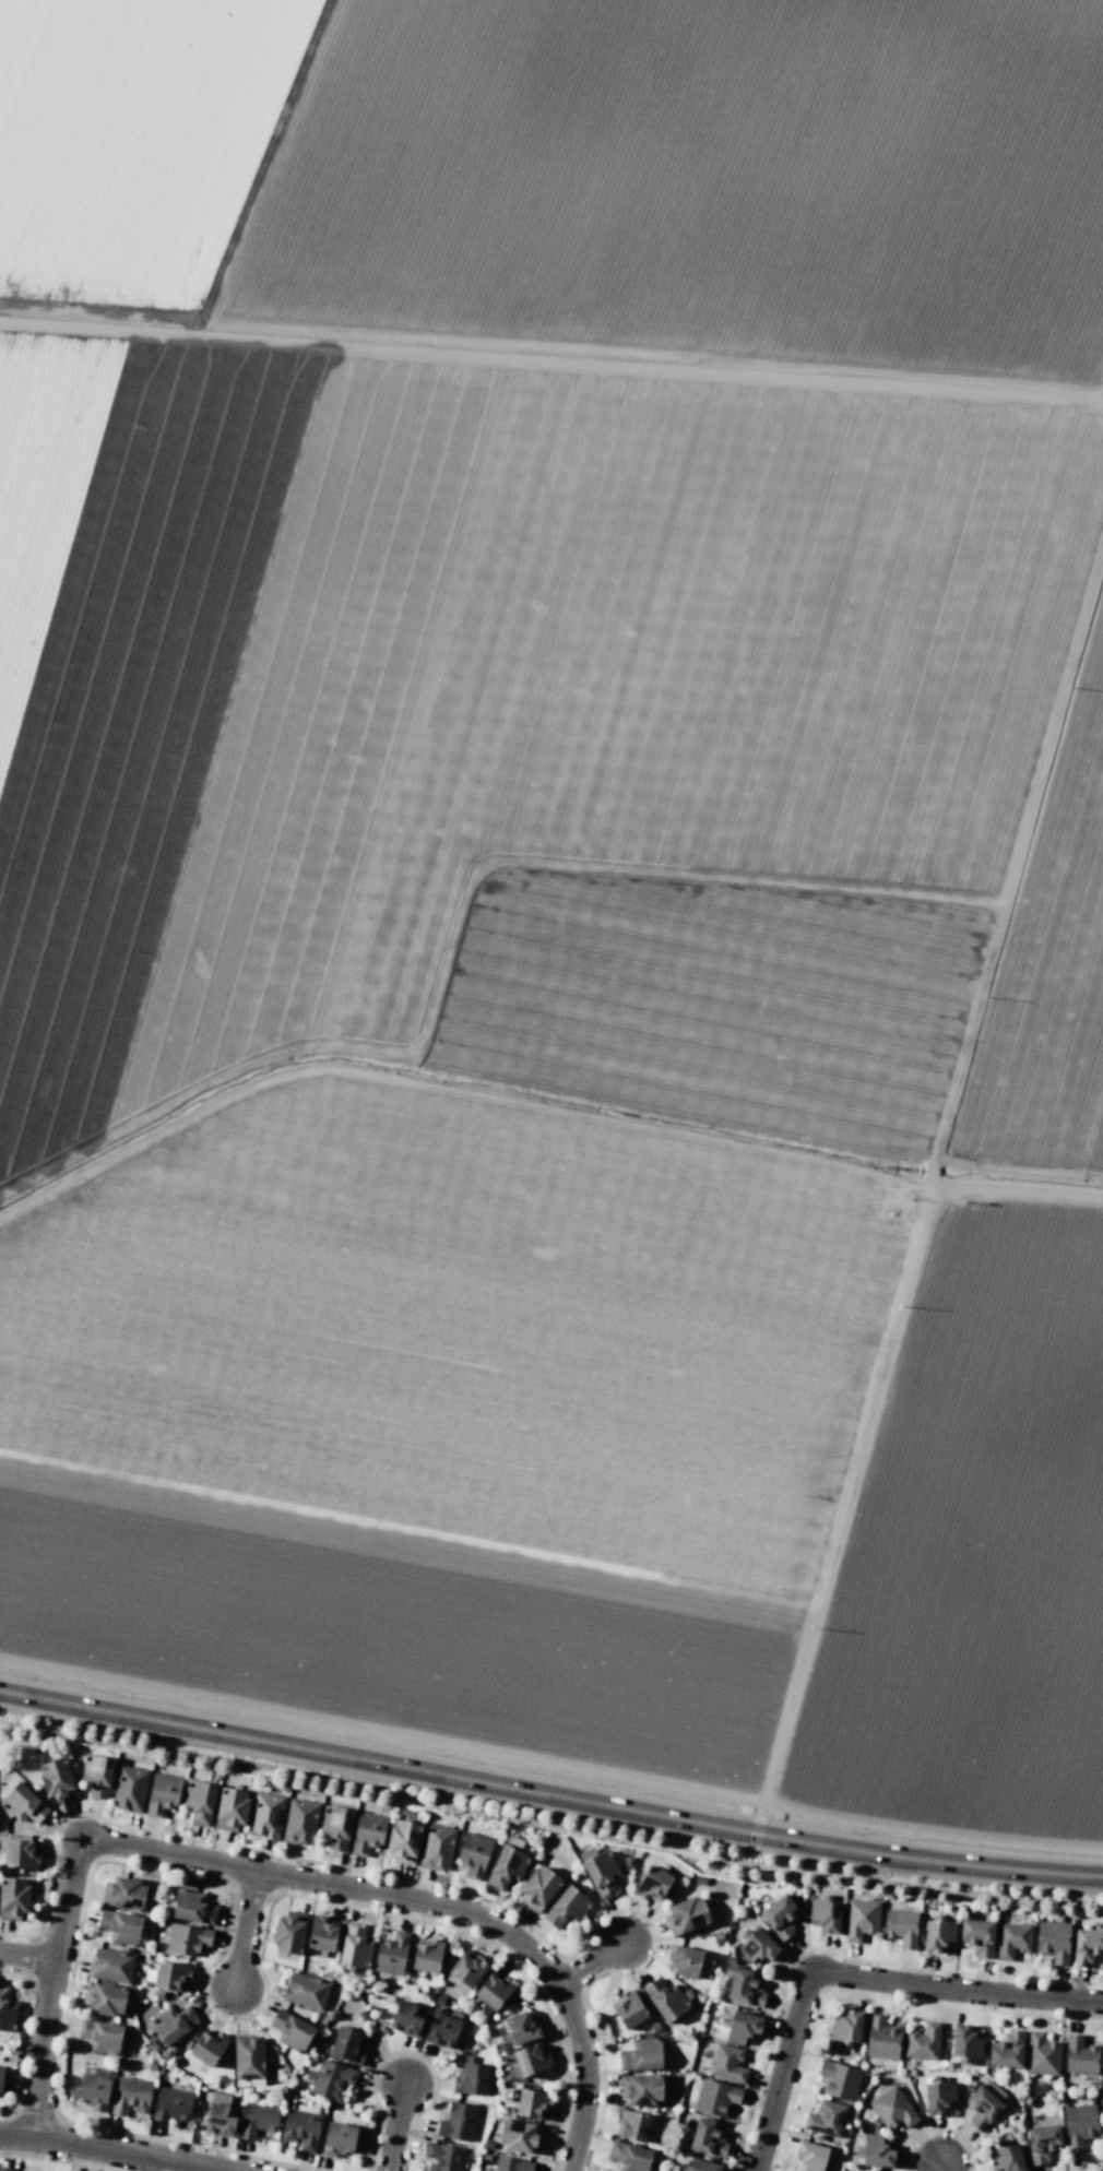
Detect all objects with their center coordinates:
crop: (560, 877)
building: (97, 1775)
building: (57, 1780)
building: (129, 1789)
building: (162, 1794)
road: (549, 1799)
building: (199, 1802)
building: (23, 1804)
building: (230, 1808)
building: (265, 1815)
building: (299, 1822)
building: (335, 1827)
building: (367, 1832)
building: (403, 1841)
building: (436, 1847)
building: (21, 1854)
building: (473, 1854)
building: (506, 1867)
building: (598, 1872)
building: (652, 1884)
building: (538, 1888)
building: (123, 1894)
building: (13, 1898)
road: (390, 1898)
building: (192, 1907)
building: (565, 1908)
building: (686, 1914)
building: (823, 1914)
building: (779, 1917)
building: (861, 1919)
building: (119, 1926)
building: (900, 1927)
building: (288, 1933)
building: (321, 1934)
building: (937, 1934)
road: (248, 1935)
building: (976, 1936)
building: (187, 1938)
building: (1011, 1939)
building: (1053, 1941)
building: (354, 1946)
building: (1086, 1946)
building: (757, 1947)
building: (391, 1954)
road: (29, 1955)
building: (426, 1956)
building: (685, 1961)
building: (110, 1966)
road: (593, 1967)
building: (466, 1968)
road: (856, 1974)
building: (170, 1976)
building: (742, 1985)
building: (305, 1991)
building: (495, 1993)
building: (104, 1998)
building: (664, 2000)
building: (628, 2009)
building: (5, 2012)
building: (404, 2018)
building: (171, 2024)
building: (740, 2027)
building: (845, 2027)
building: (440, 2028)
building: (521, 2028)
road: (48, 2029)
building: (290, 2030)
building: (99, 2036)
building: (881, 2038)
building: (922, 2041)
building: (965, 2041)
building: (347, 2044)
building: (206, 2048)
building: (1006, 2050)
building: (1041, 2054)
building: (640, 2055)
building: (1079, 2055)
building: (248, 2057)
building: (531, 2060)
building: (727, 2064)
building: (470, 2078)
building: (329, 2079)
building: (839, 2080)
building: (640, 2089)
building: (93, 2091)
building: (130, 2096)
building: (938, 2097)
building: (715, 2098)
building: (532, 2103)
building: (983, 2104)
building: (170, 2105)
building: (892, 2109)
building: (218, 2115)
building: (825, 2119)
building: (257, 2120)
building: (456, 2122)
building: (1079, 2124)
building: (633, 2125)
road: (400, 2128)
building: (300, 2130)
building: (520, 2135)
building: (707, 2138)
building: (337, 2139)
building: (1041, 2144)
road: (107, 2151)
building: (874, 2151)
building: (628, 2156)
building: (441, 2157)
building: (811, 2157)
building: (1006, 2157)
building: (512, 2164)
building: (700, 2166)
road: (164, 2167)
road: (944, 2167)

